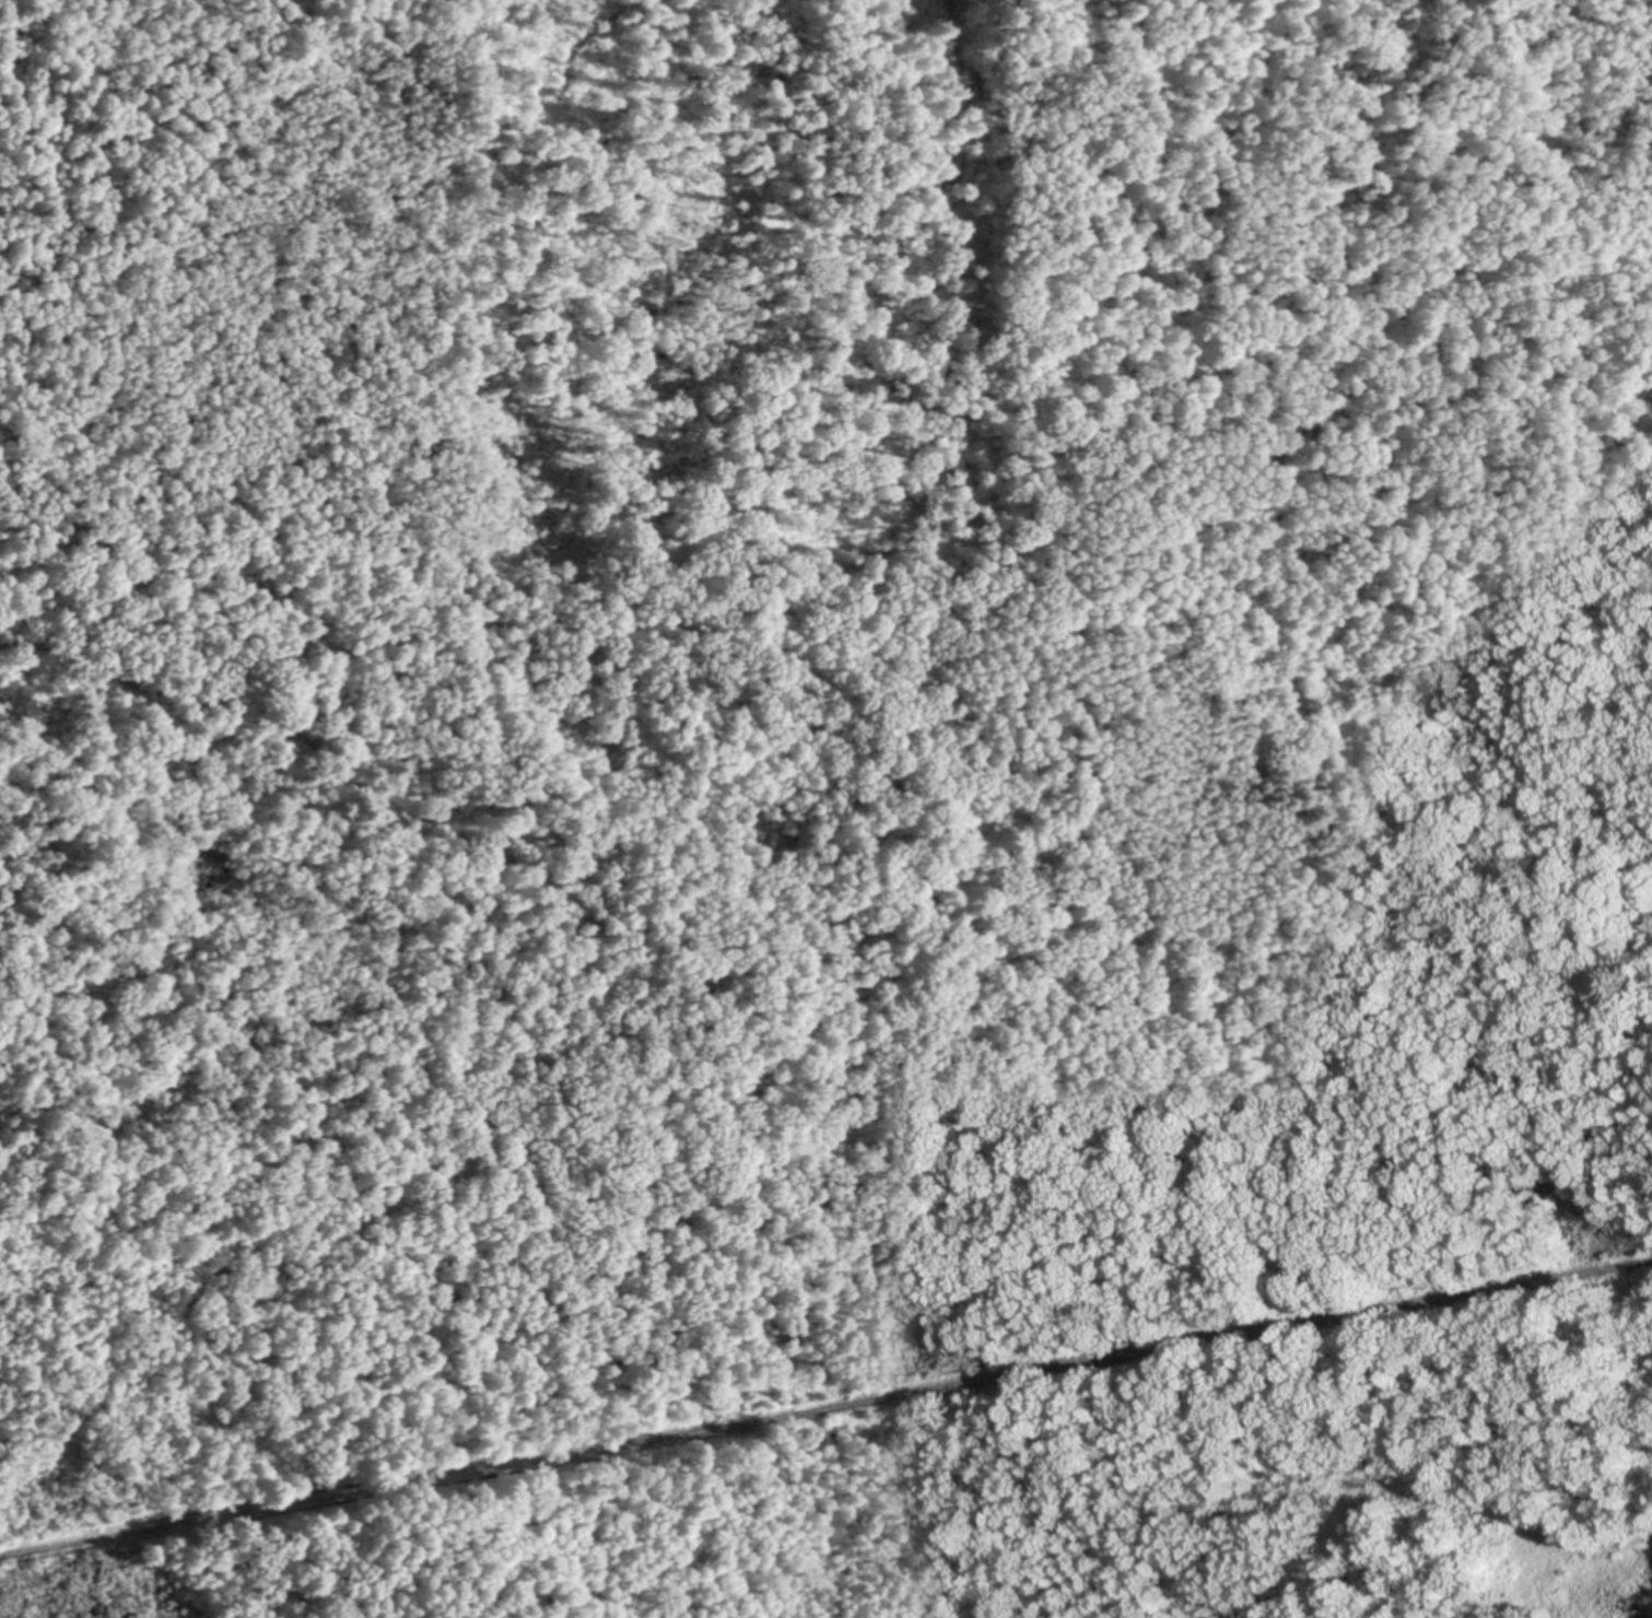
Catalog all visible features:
railway: (825, 1407)

